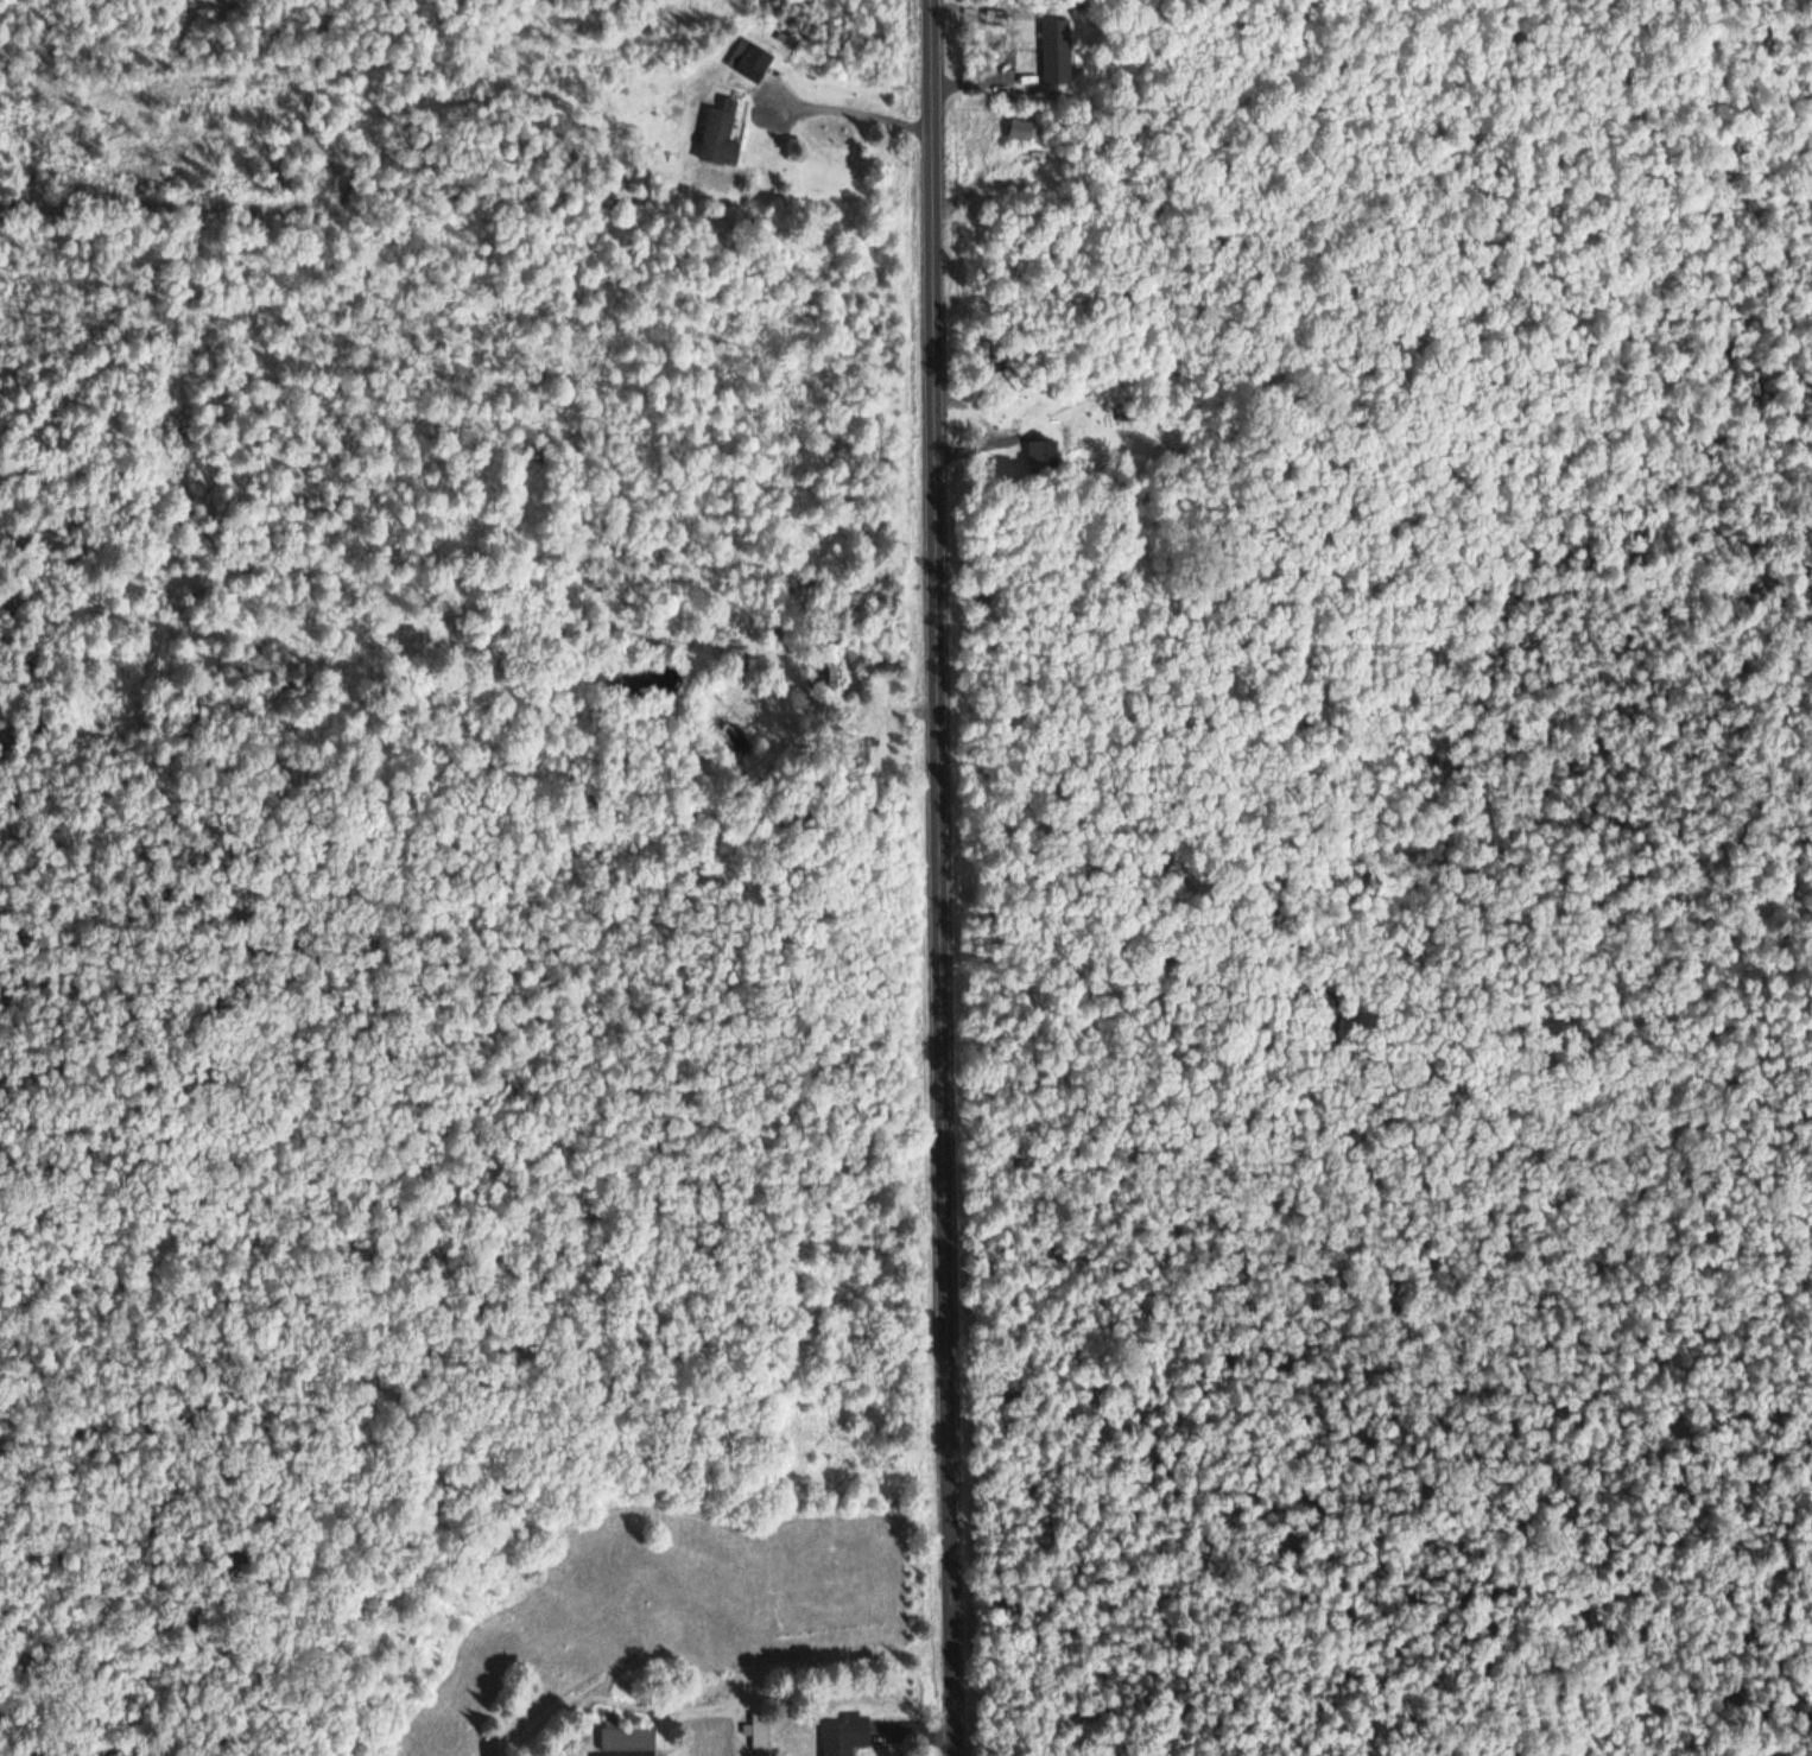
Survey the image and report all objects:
road: (996, 51)
building: (1057, 53)
building: (752, 69)
road: (856, 116)
building: (1021, 132)
building: (720, 139)
road: (974, 420)
building: (1044, 456)
building: (832, 674)
building: (861, 752)
road: (946, 877)
building: (761, 1735)
building: (848, 1736)
building: (629, 1739)

